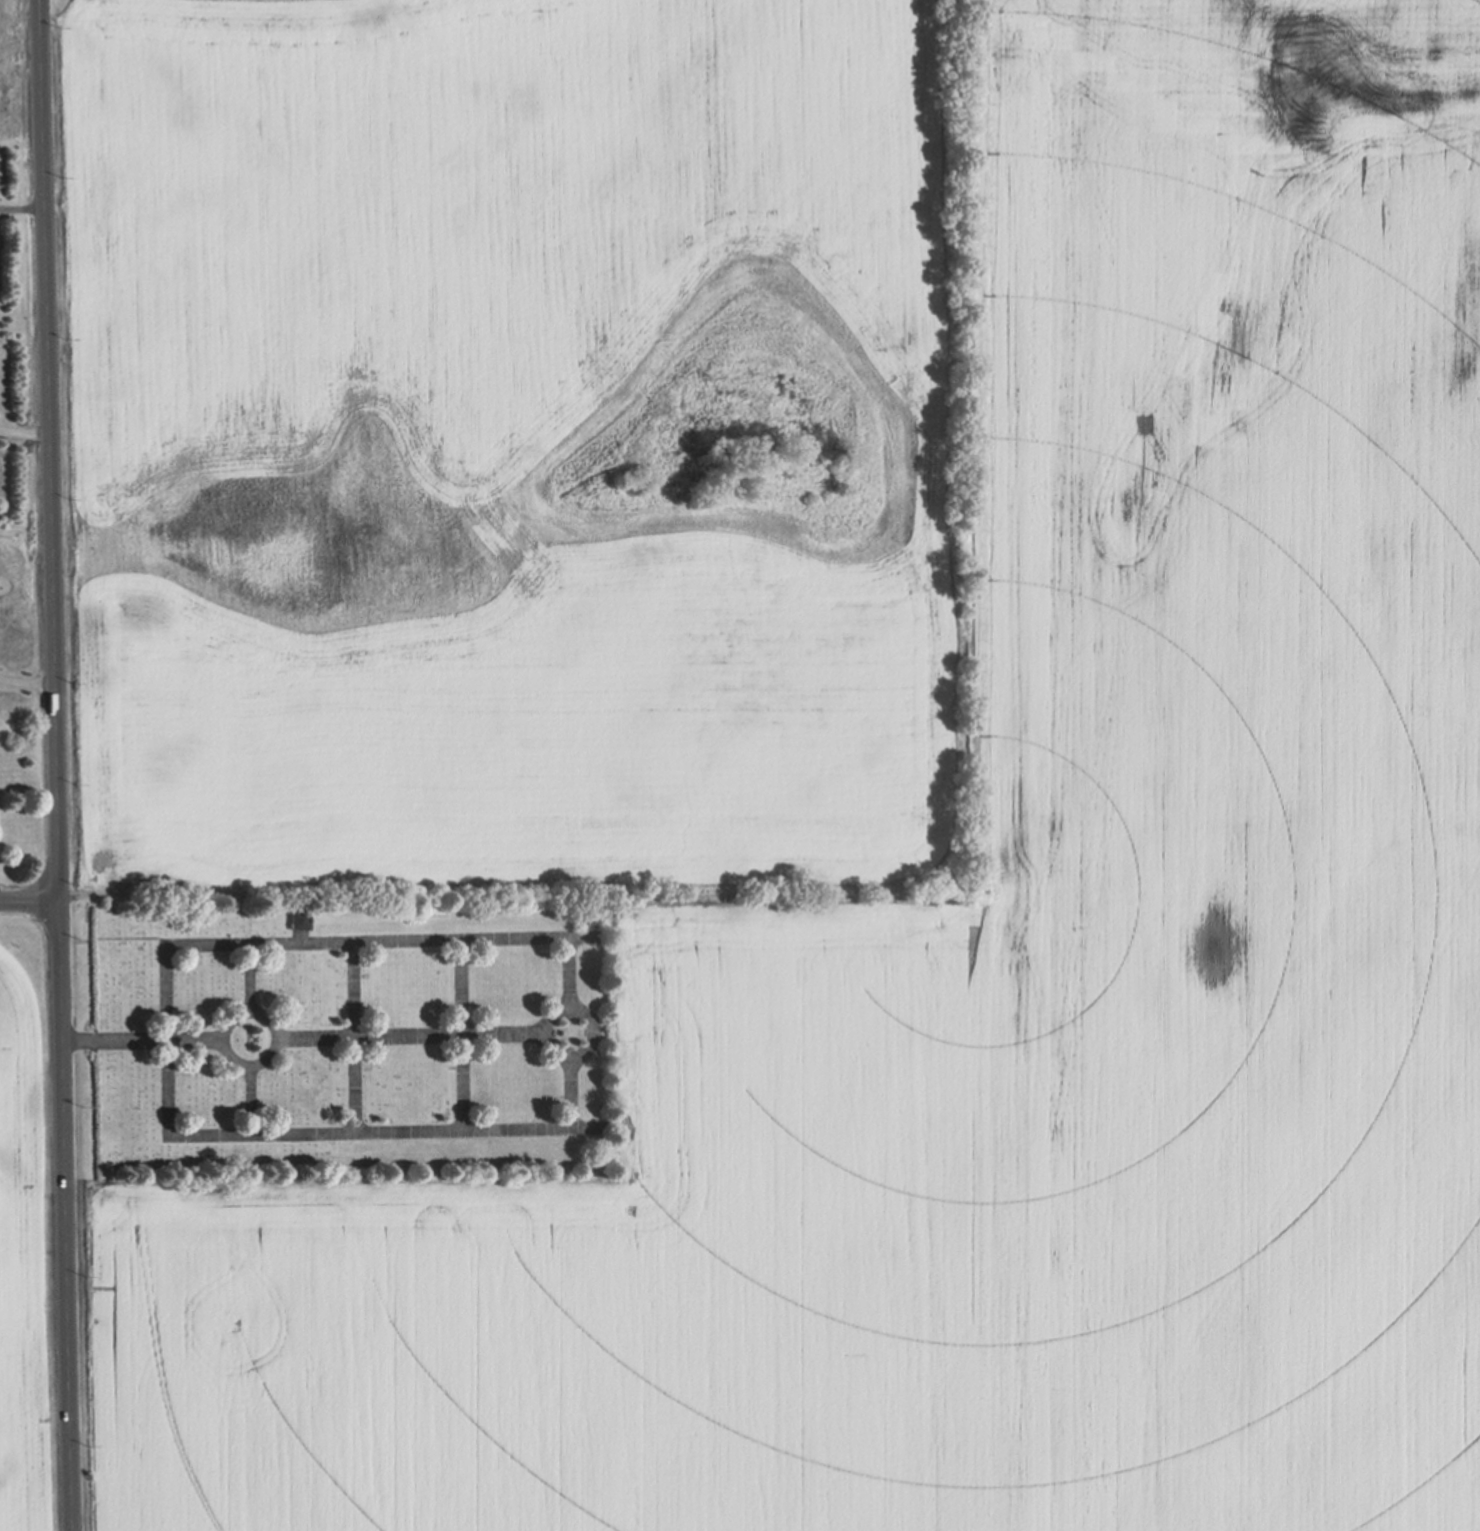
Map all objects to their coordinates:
road: (22, 207)
road: (23, 434)
road: (25, 681)
road: (51, 765)
road: (26, 902)
building: (296, 918)
park: (347, 1035)

